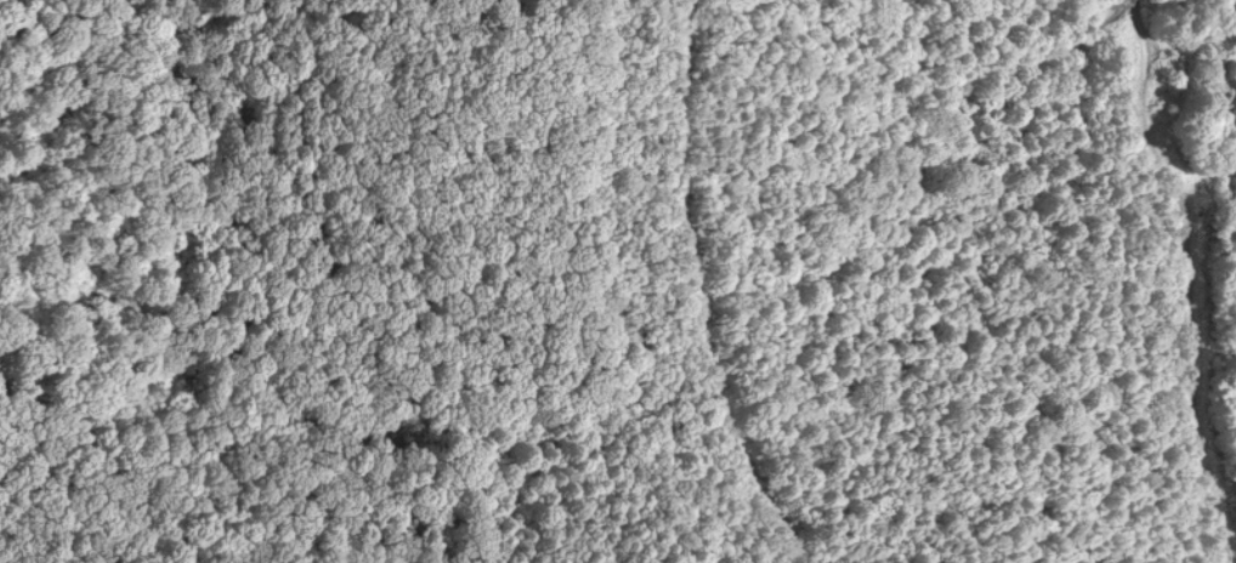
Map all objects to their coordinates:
road: (690, 300)

